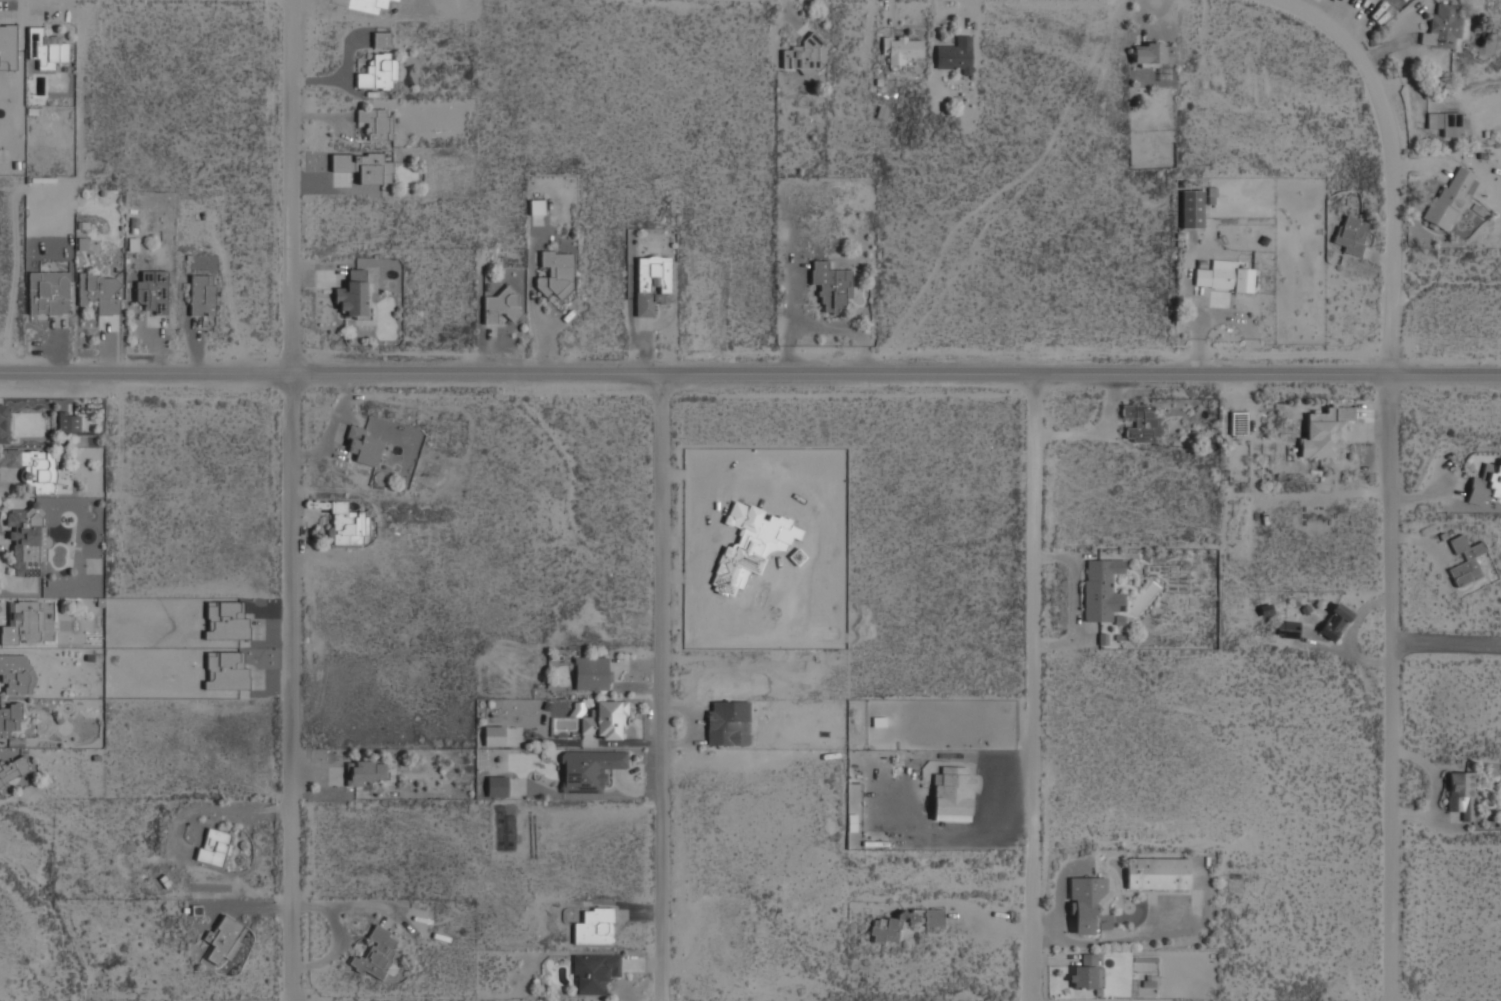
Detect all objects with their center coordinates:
building: (1444, 28)
building: (45, 49)
building: (900, 50)
building: (1152, 54)
building: (804, 55)
building: (955, 56)
building: (377, 73)
building: (375, 124)
building: (1445, 124)
building: (363, 167)
building: (1448, 201)
building: (537, 207)
building: (1192, 210)
building: (1350, 236)
building: (555, 274)
building: (1223, 277)
building: (652, 284)
building: (831, 286)
building: (152, 292)
building: (99, 293)
building: (352, 294)
building: (47, 295)
building: (202, 296)
building: (499, 306)
road: (532, 307)
road: (750, 382)
building: (69, 422)
building: (4, 424)
building: (1140, 424)
building: (1239, 425)
building: (1325, 434)
building: (364, 446)
road: (1393, 467)
building: (32, 468)
building: (1487, 486)
road: (294, 500)
building: (341, 525)
building: (26, 541)
building: (1465, 561)
building: (1102, 591)
building: (1335, 622)
building: (22, 624)
building: (1288, 631)
road: (1446, 643)
building: (17, 675)
building: (591, 675)
road: (1036, 690)
road: (664, 692)
building: (9, 720)
building: (604, 721)
building: (725, 723)
building: (494, 737)
building: (13, 770)
building: (589, 771)
building: (365, 774)
building: (497, 787)
building: (1460, 794)
building: (953, 795)
building: (213, 848)
building: (1158, 875)
building: (1085, 904)
building: (902, 924)
building: (594, 928)
building: (223, 940)
building: (376, 954)
building: (1084, 973)
building: (594, 974)

